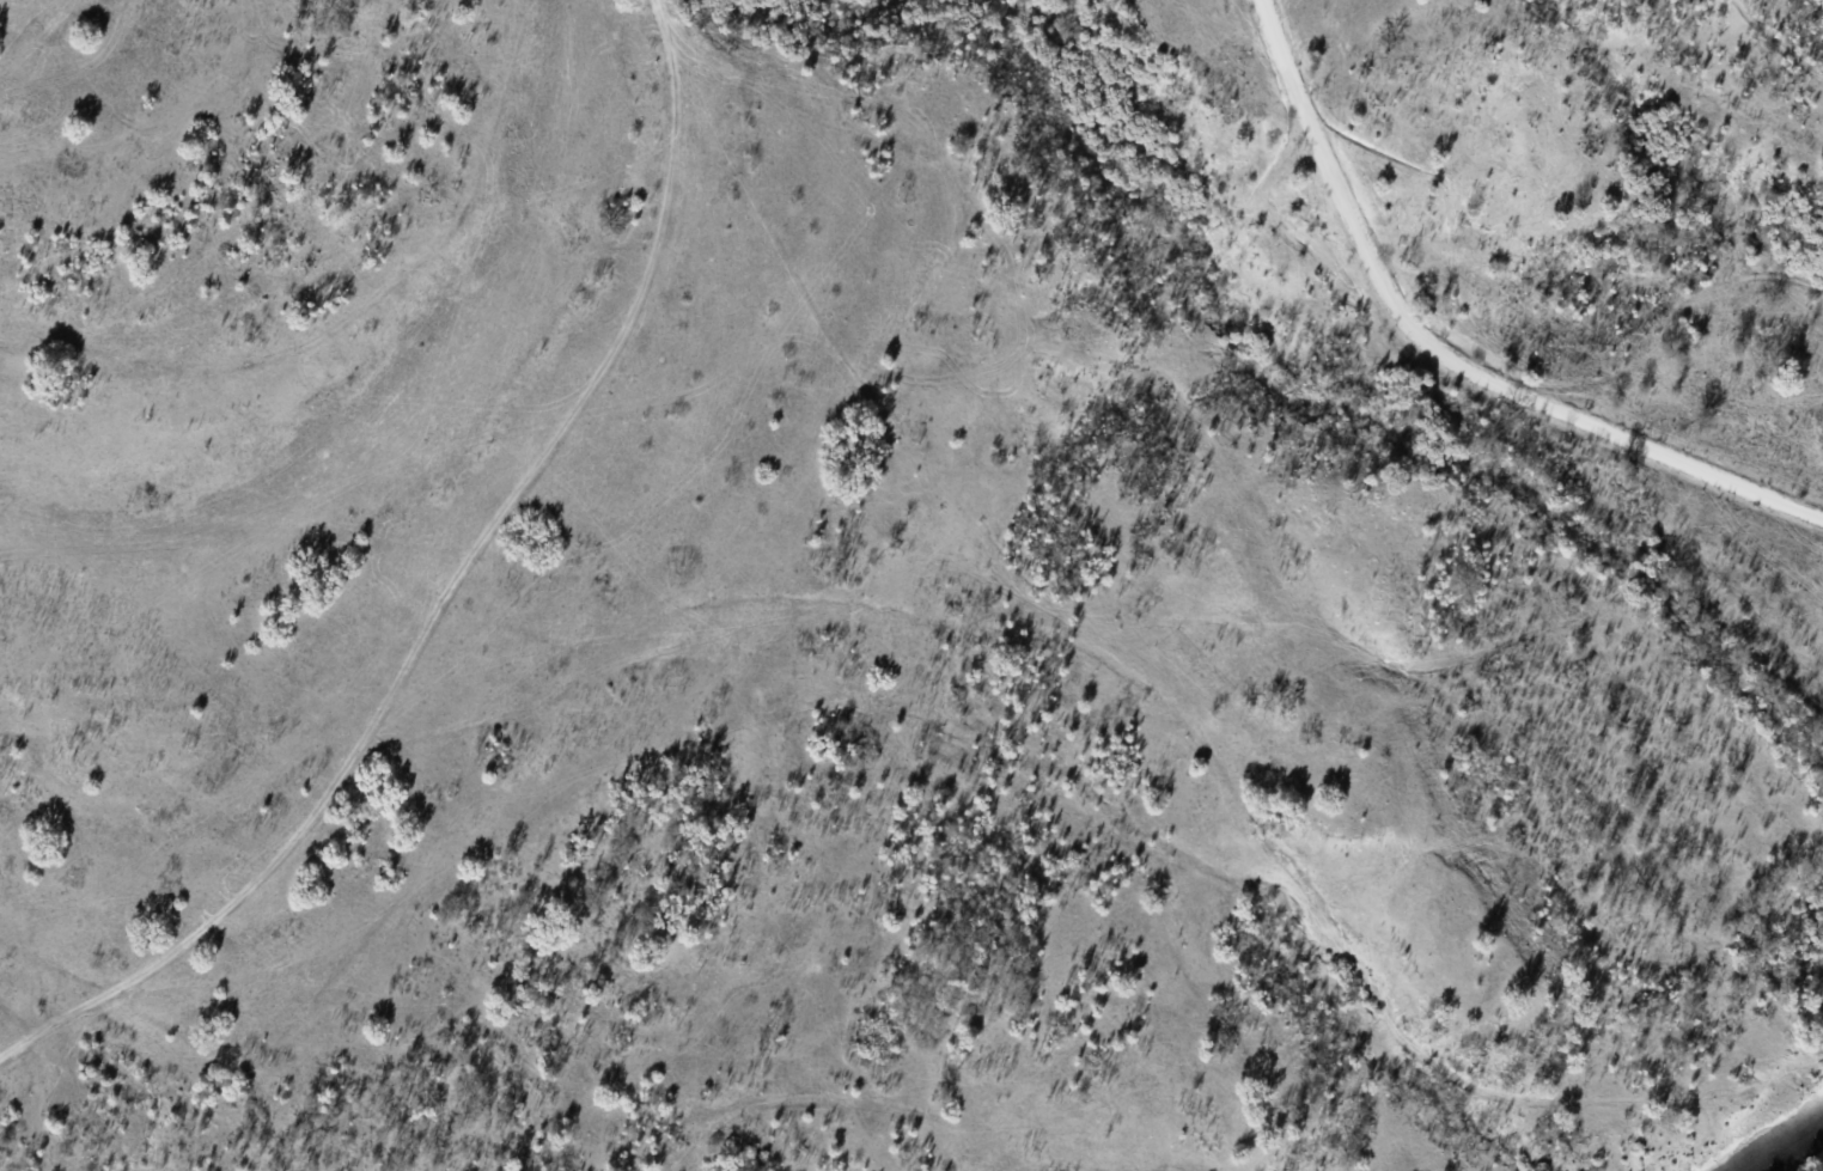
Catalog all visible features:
road: (1611, 427)

